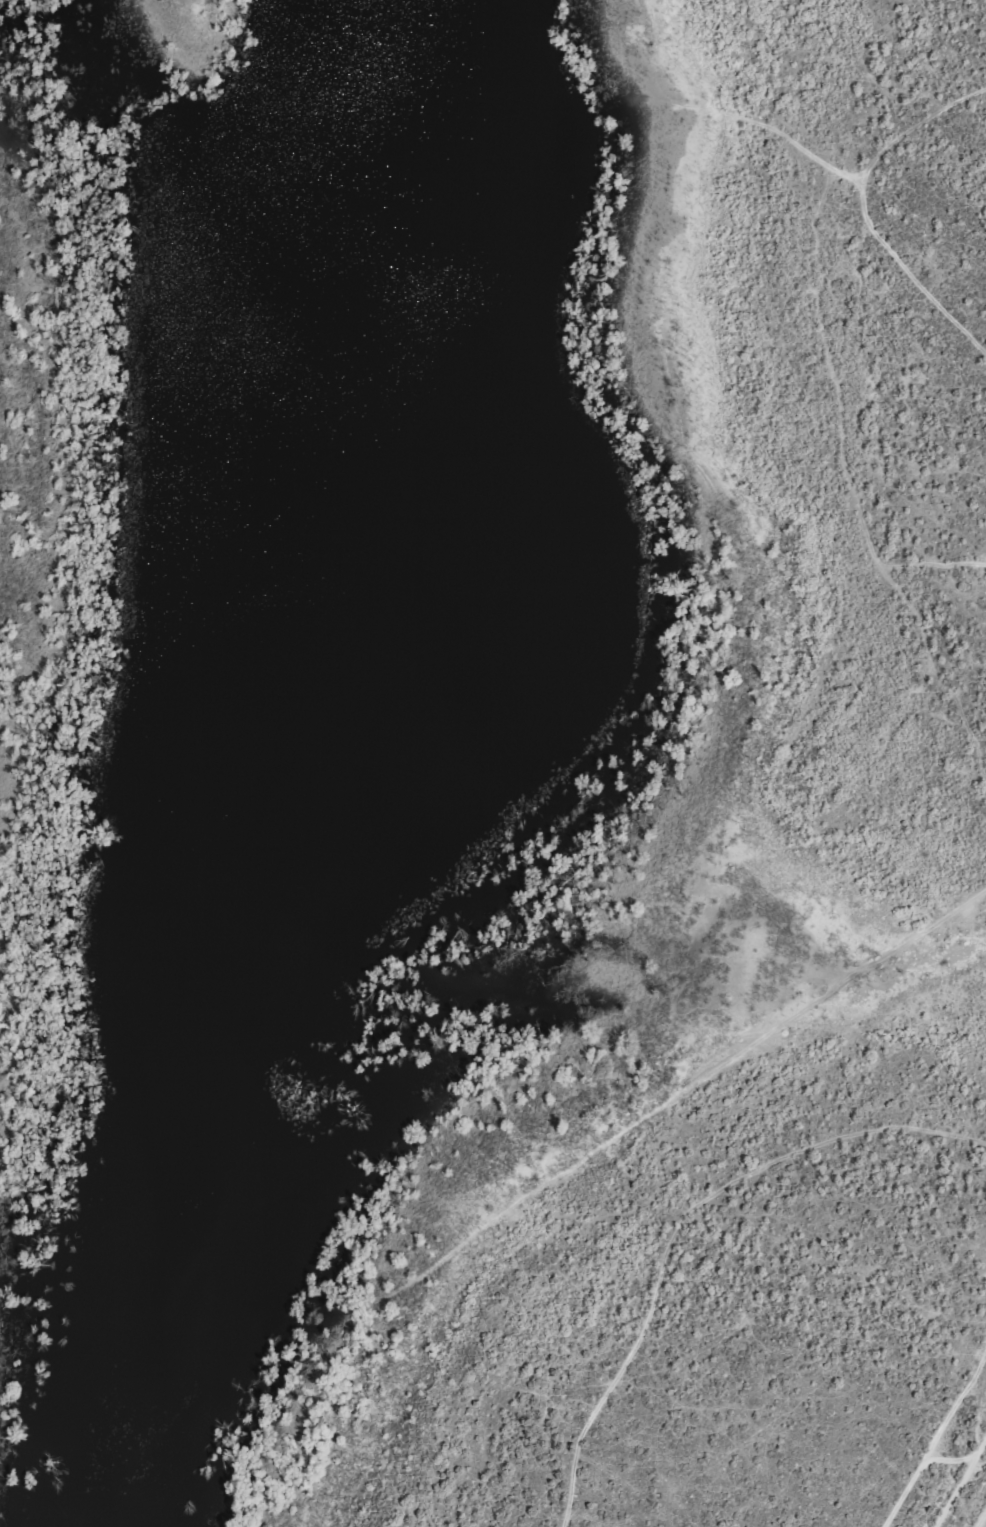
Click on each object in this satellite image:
road: (862, 211)
road: (932, 565)
railway: (959, 1482)
road: (980, 1517)

